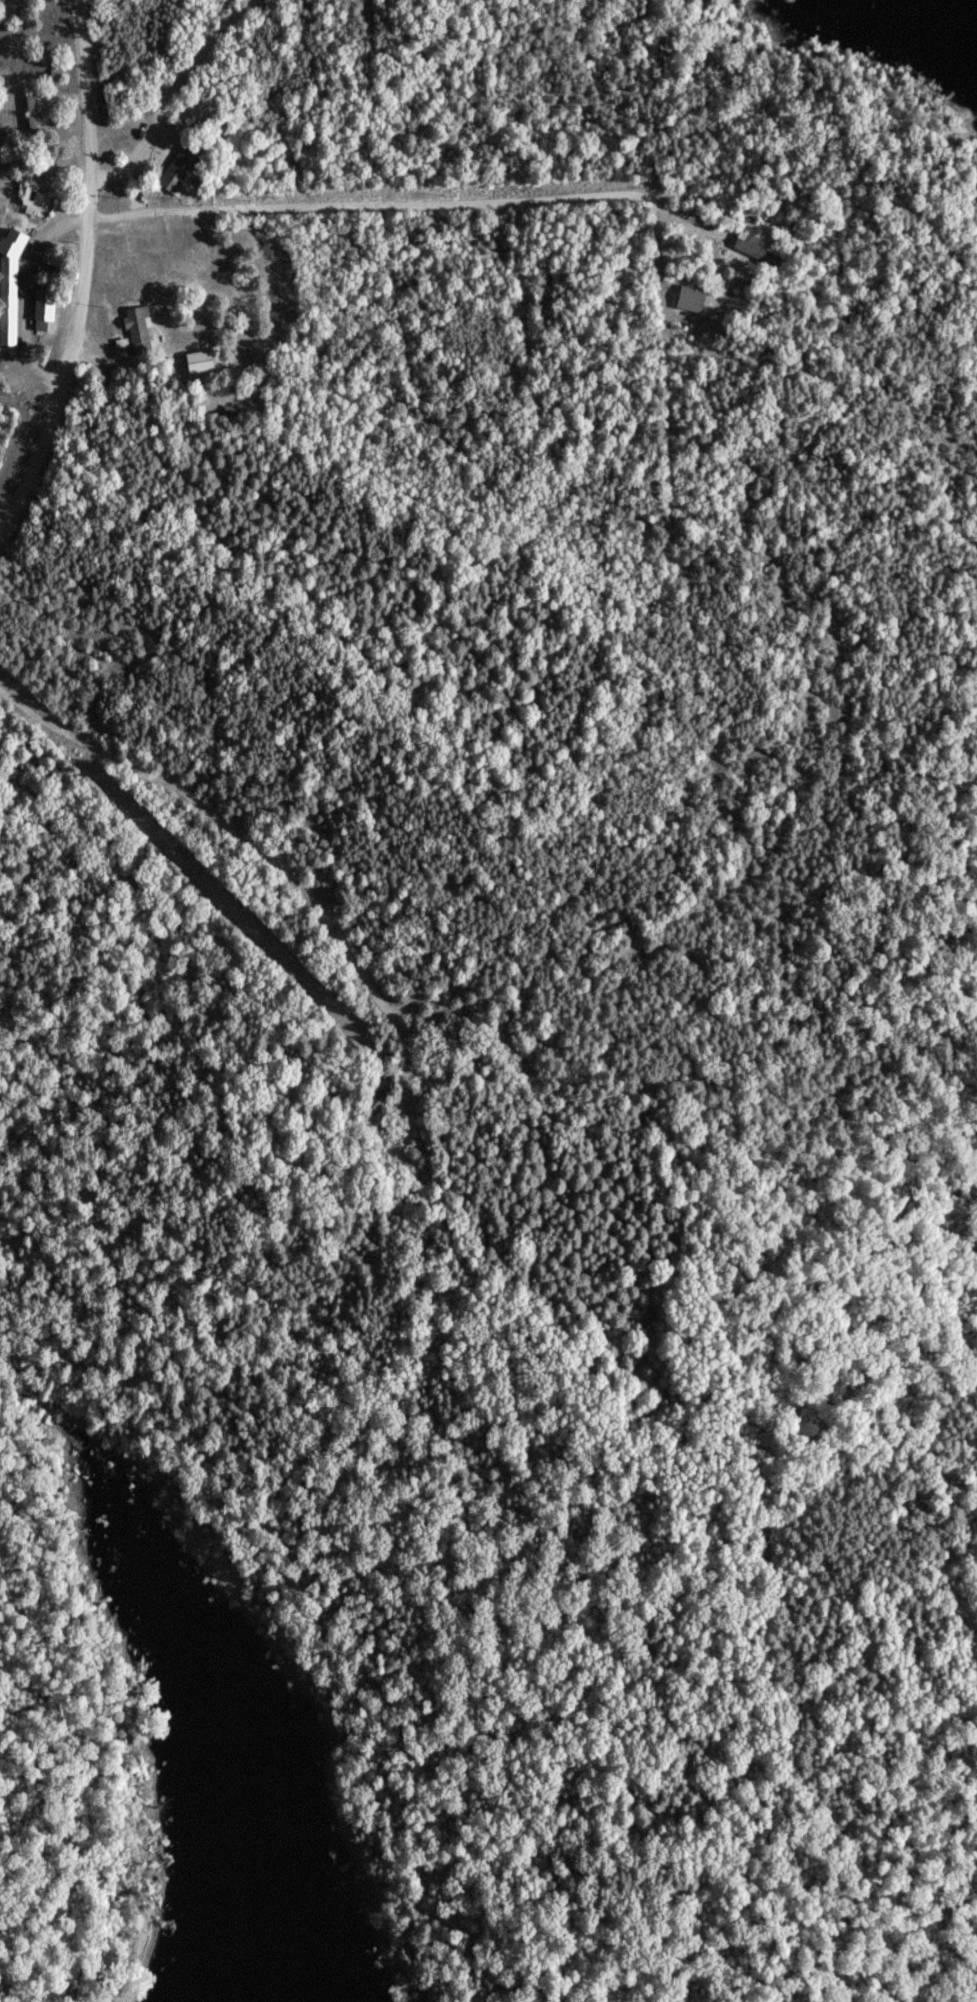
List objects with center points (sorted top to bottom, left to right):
road: (171, 97)
building: (31, 113)
road: (45, 145)
building: (178, 169)
road: (412, 202)
road: (82, 273)
building: (10, 284)
road: (25, 294)
building: (686, 297)
building: (45, 309)
building: (138, 330)
building: (198, 359)
building: (227, 411)

